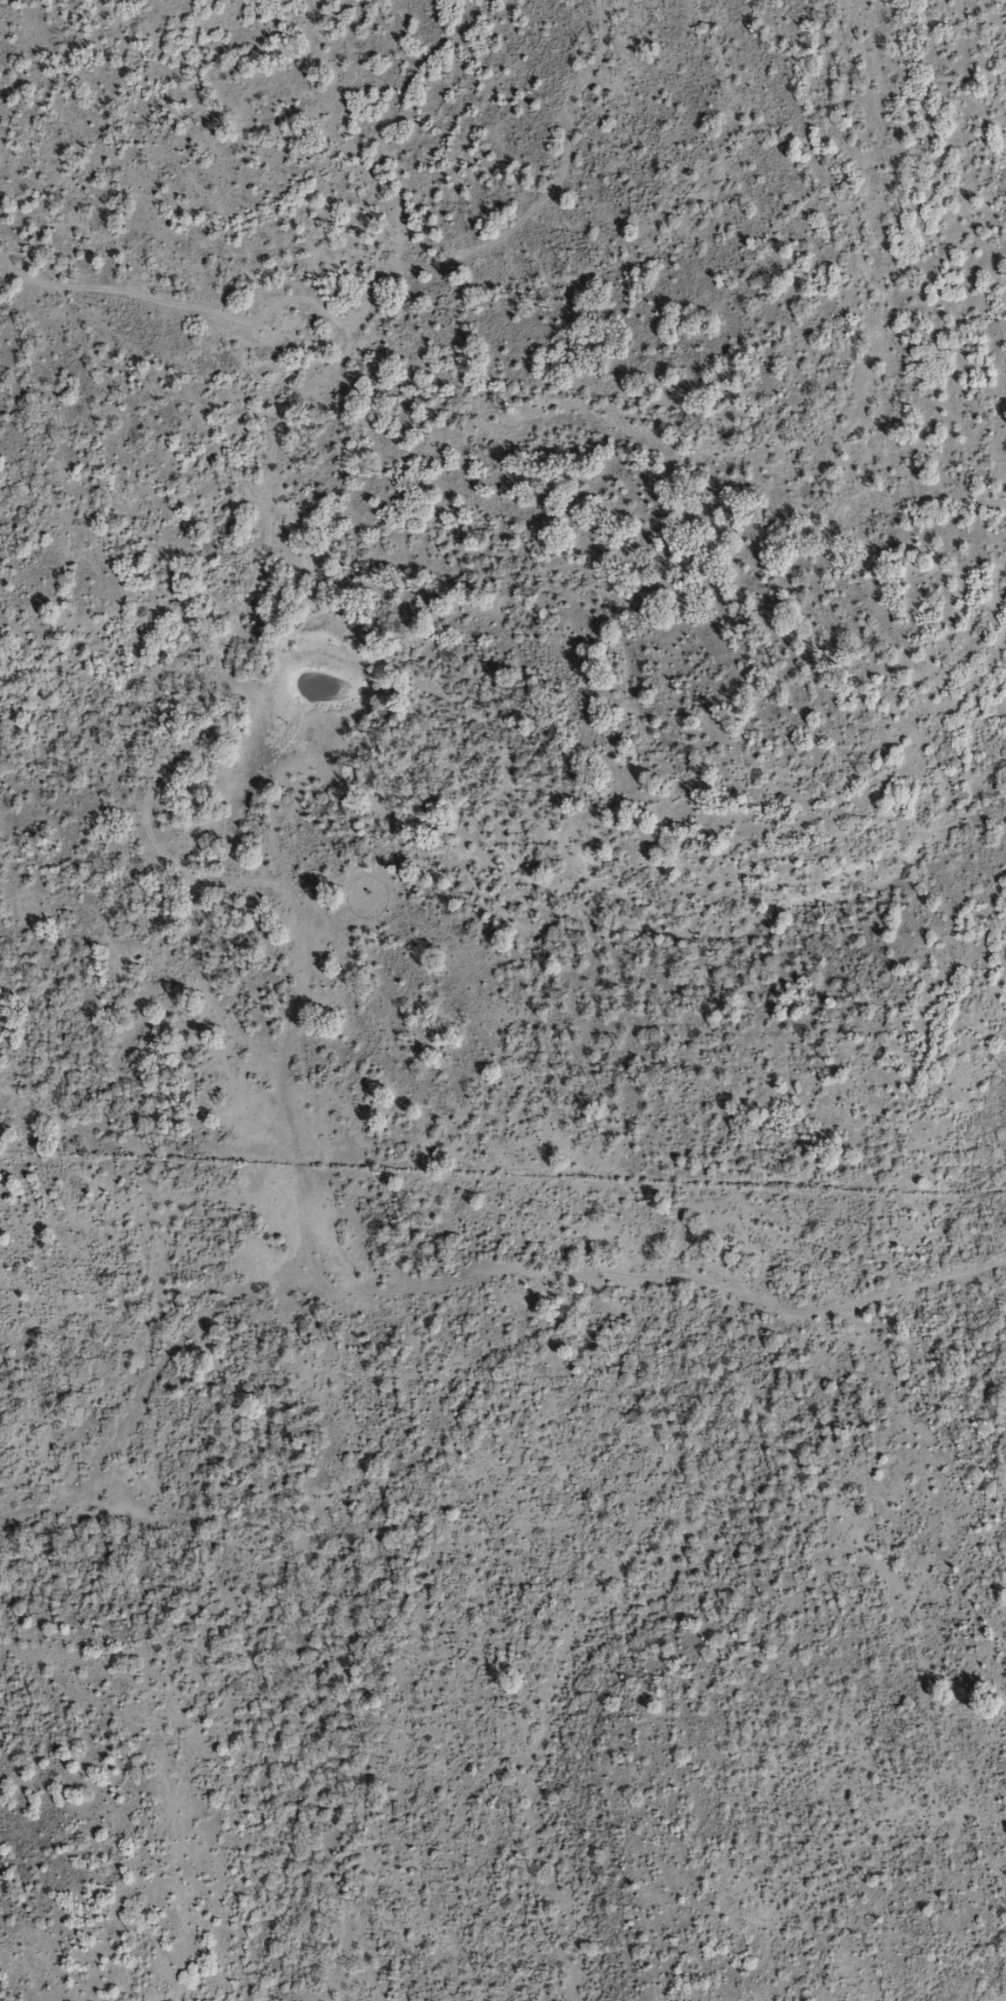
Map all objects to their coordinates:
road: (410, 333)
road: (432, 1321)

